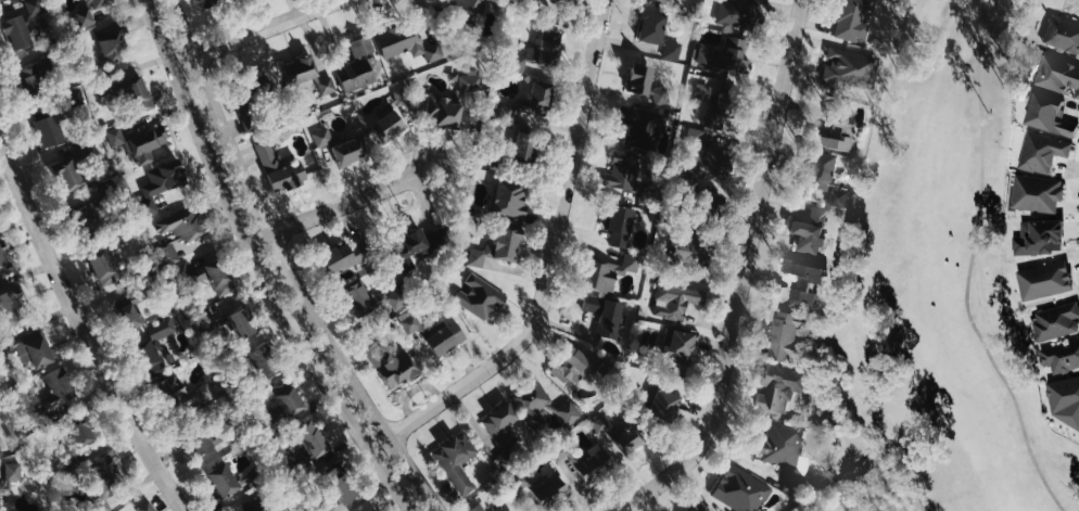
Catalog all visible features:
building: (1, 0)
building: (656, 2)
building: (207, 3)
building: (90, 11)
building: (460, 11)
building: (737, 14)
building: (560, 20)
building: (852, 20)
building: (20, 26)
road: (270, 28)
building: (650, 28)
building: (1062, 35)
building: (111, 44)
building: (414, 46)
building: (671, 51)
building: (539, 55)
building: (723, 55)
road: (186, 61)
building: (355, 66)
building: (836, 69)
building: (299, 73)
building: (1058, 77)
building: (36, 78)
building: (469, 82)
building: (643, 85)
building: (127, 95)
building: (714, 95)
building: (401, 97)
building: (250, 101)
building: (534, 101)
building: (443, 112)
building: (719, 113)
building: (1048, 116)
building: (385, 125)
building: (640, 127)
building: (46, 128)
building: (835, 131)
building: (323, 137)
building: (136, 144)
building: (523, 150)
building: (348, 152)
building: (1045, 152)
building: (704, 157)
building: (276, 168)
building: (816, 171)
building: (65, 177)
building: (625, 177)
building: (162, 183)
building: (1039, 193)
building: (837, 197)
building: (508, 200)
road: (353, 202)
building: (706, 210)
building: (88, 217)
building: (618, 226)
building: (808, 232)
building: (178, 233)
building: (1042, 238)
building: (115, 239)
building: (422, 242)
road: (261, 243)
building: (503, 245)
building: (695, 248)
building: (342, 257)
building: (3, 264)
road: (549, 264)
road: (969, 265)
road: (288, 266)
road: (256, 267)
building: (101, 268)
building: (607, 274)
road: (742, 274)
building: (204, 277)
building: (1046, 281)
building: (803, 284)
building: (478, 297)
building: (674, 301)
building: (369, 302)
building: (11, 305)
building: (128, 308)
building: (605, 316)
road: (84, 320)
building: (230, 322)
building: (1058, 322)
building: (160, 329)
building: (435, 333)
building: (786, 337)
building: (678, 347)
building: (33, 354)
building: (1061, 357)
building: (148, 359)
building: (261, 362)
building: (576, 367)
building: (396, 370)
building: (56, 385)
building: (778, 389)
building: (168, 391)
building: (283, 399)
building: (1066, 403)
building: (662, 405)
building: (538, 407)
building: (78, 431)
building: (500, 433)
building: (310, 438)
building: (198, 439)
building: (626, 440)
building: (1, 449)
building: (783, 450)
building: (455, 461)
building: (596, 465)
building: (11, 472)
building: (221, 481)
building: (103, 482)
building: (337, 484)
building: (542, 489)
building: (739, 489)
building: (0, 496)
building: (252, 506)
building: (144, 507)
building: (480, 508)
building: (697, 508)
building: (325, 509)
building: (509, 509)

